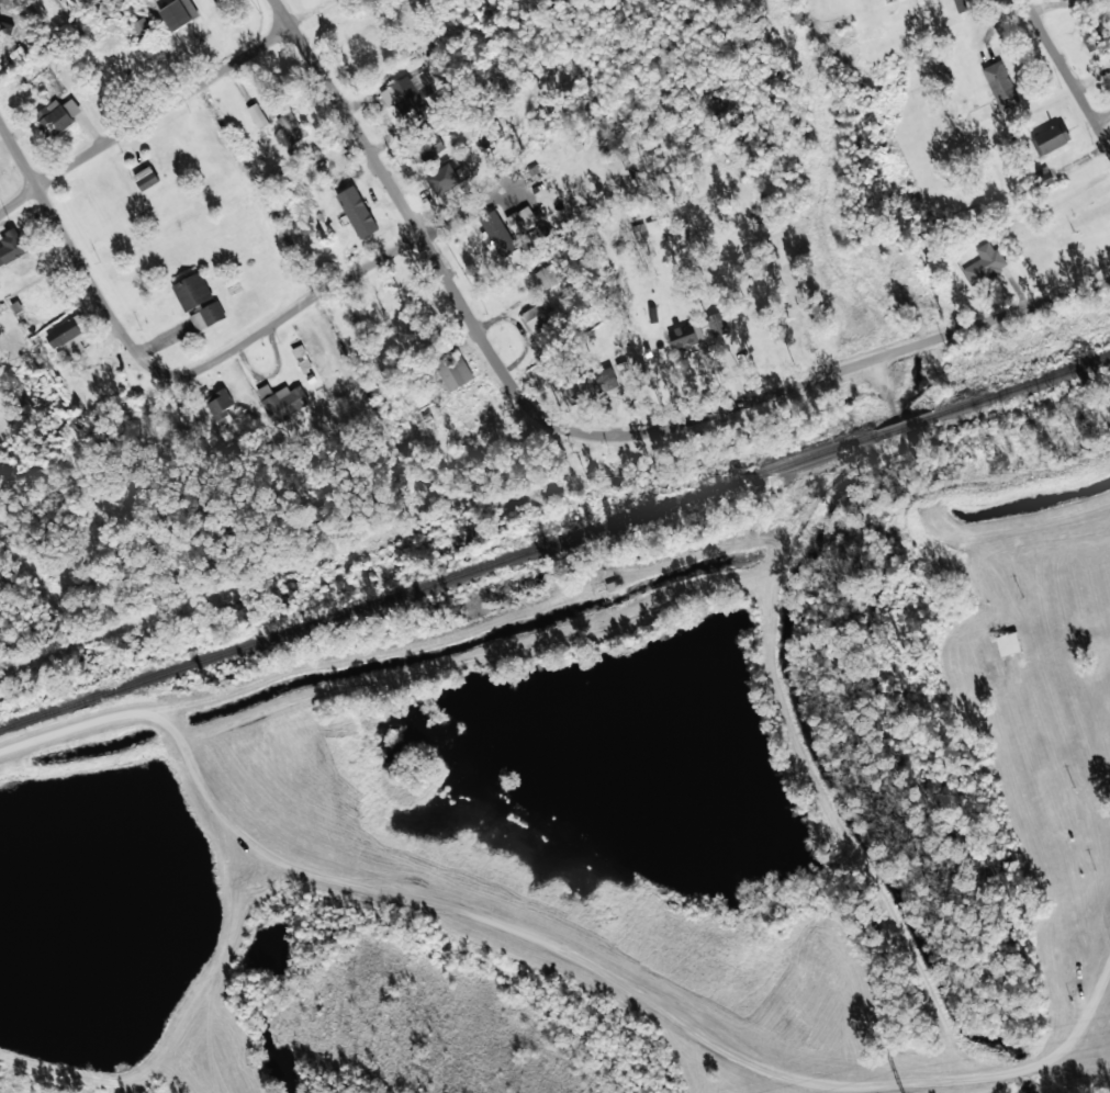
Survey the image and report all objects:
building: (215, 0)
building: (1059, 0)
building: (77, 3)
building: (958, 5)
road: (302, 9)
building: (178, 13)
building: (142, 26)
building: (1109, 59)
road: (1066, 76)
building: (1000, 84)
building: (407, 94)
building: (257, 115)
road: (1100, 115)
building: (57, 116)
road: (147, 123)
building: (291, 127)
building: (1051, 138)
building: (426, 150)
building: (145, 178)
building: (1044, 178)
building: (442, 181)
building: (357, 211)
building: (520, 218)
road: (418, 227)
building: (638, 230)
building: (497, 234)
building: (11, 247)
road: (63, 249)
building: (984, 263)
building: (545, 278)
building: (192, 291)
road: (285, 312)
building: (206, 315)
building: (536, 316)
building: (717, 324)
building: (684, 335)
building: (68, 339)
building: (301, 358)
road: (845, 365)
building: (453, 370)
building: (624, 372)
building: (281, 401)
building: (218, 405)
building: (231, 458)
railway: (554, 540)
road: (564, 950)
road: (1085, 1043)

